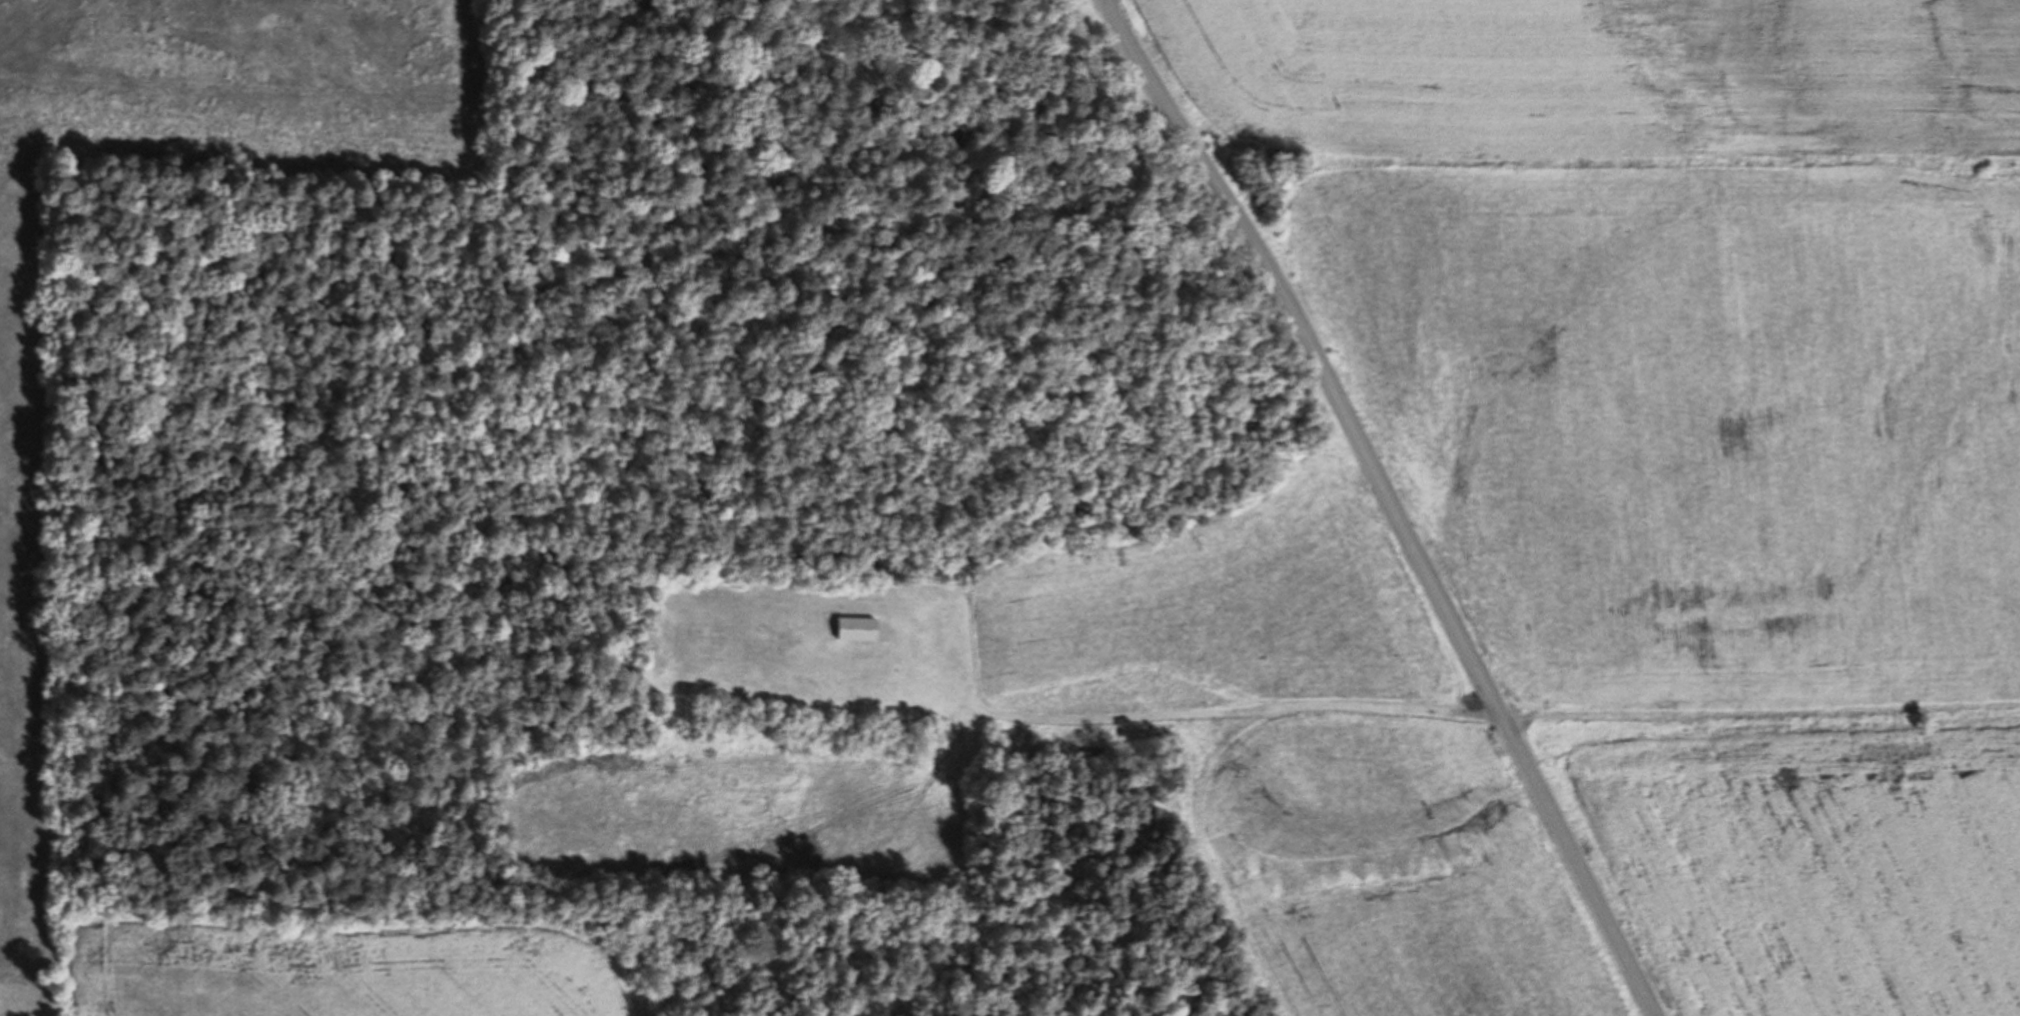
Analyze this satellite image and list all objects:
road: (1388, 502)
building: (860, 628)

